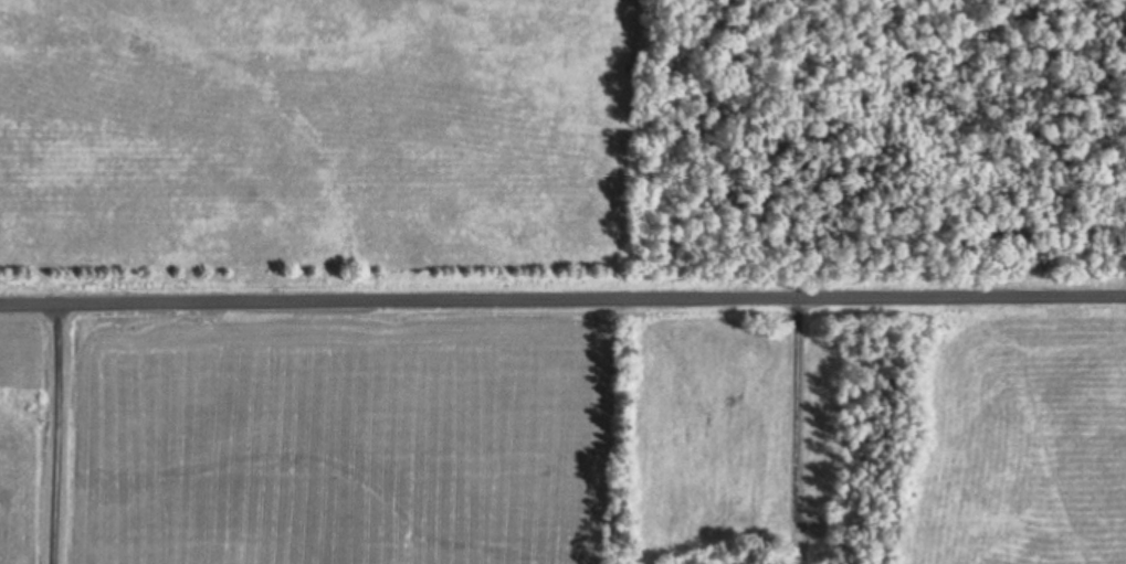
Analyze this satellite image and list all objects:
road: (562, 296)
road: (797, 406)
road: (54, 433)

